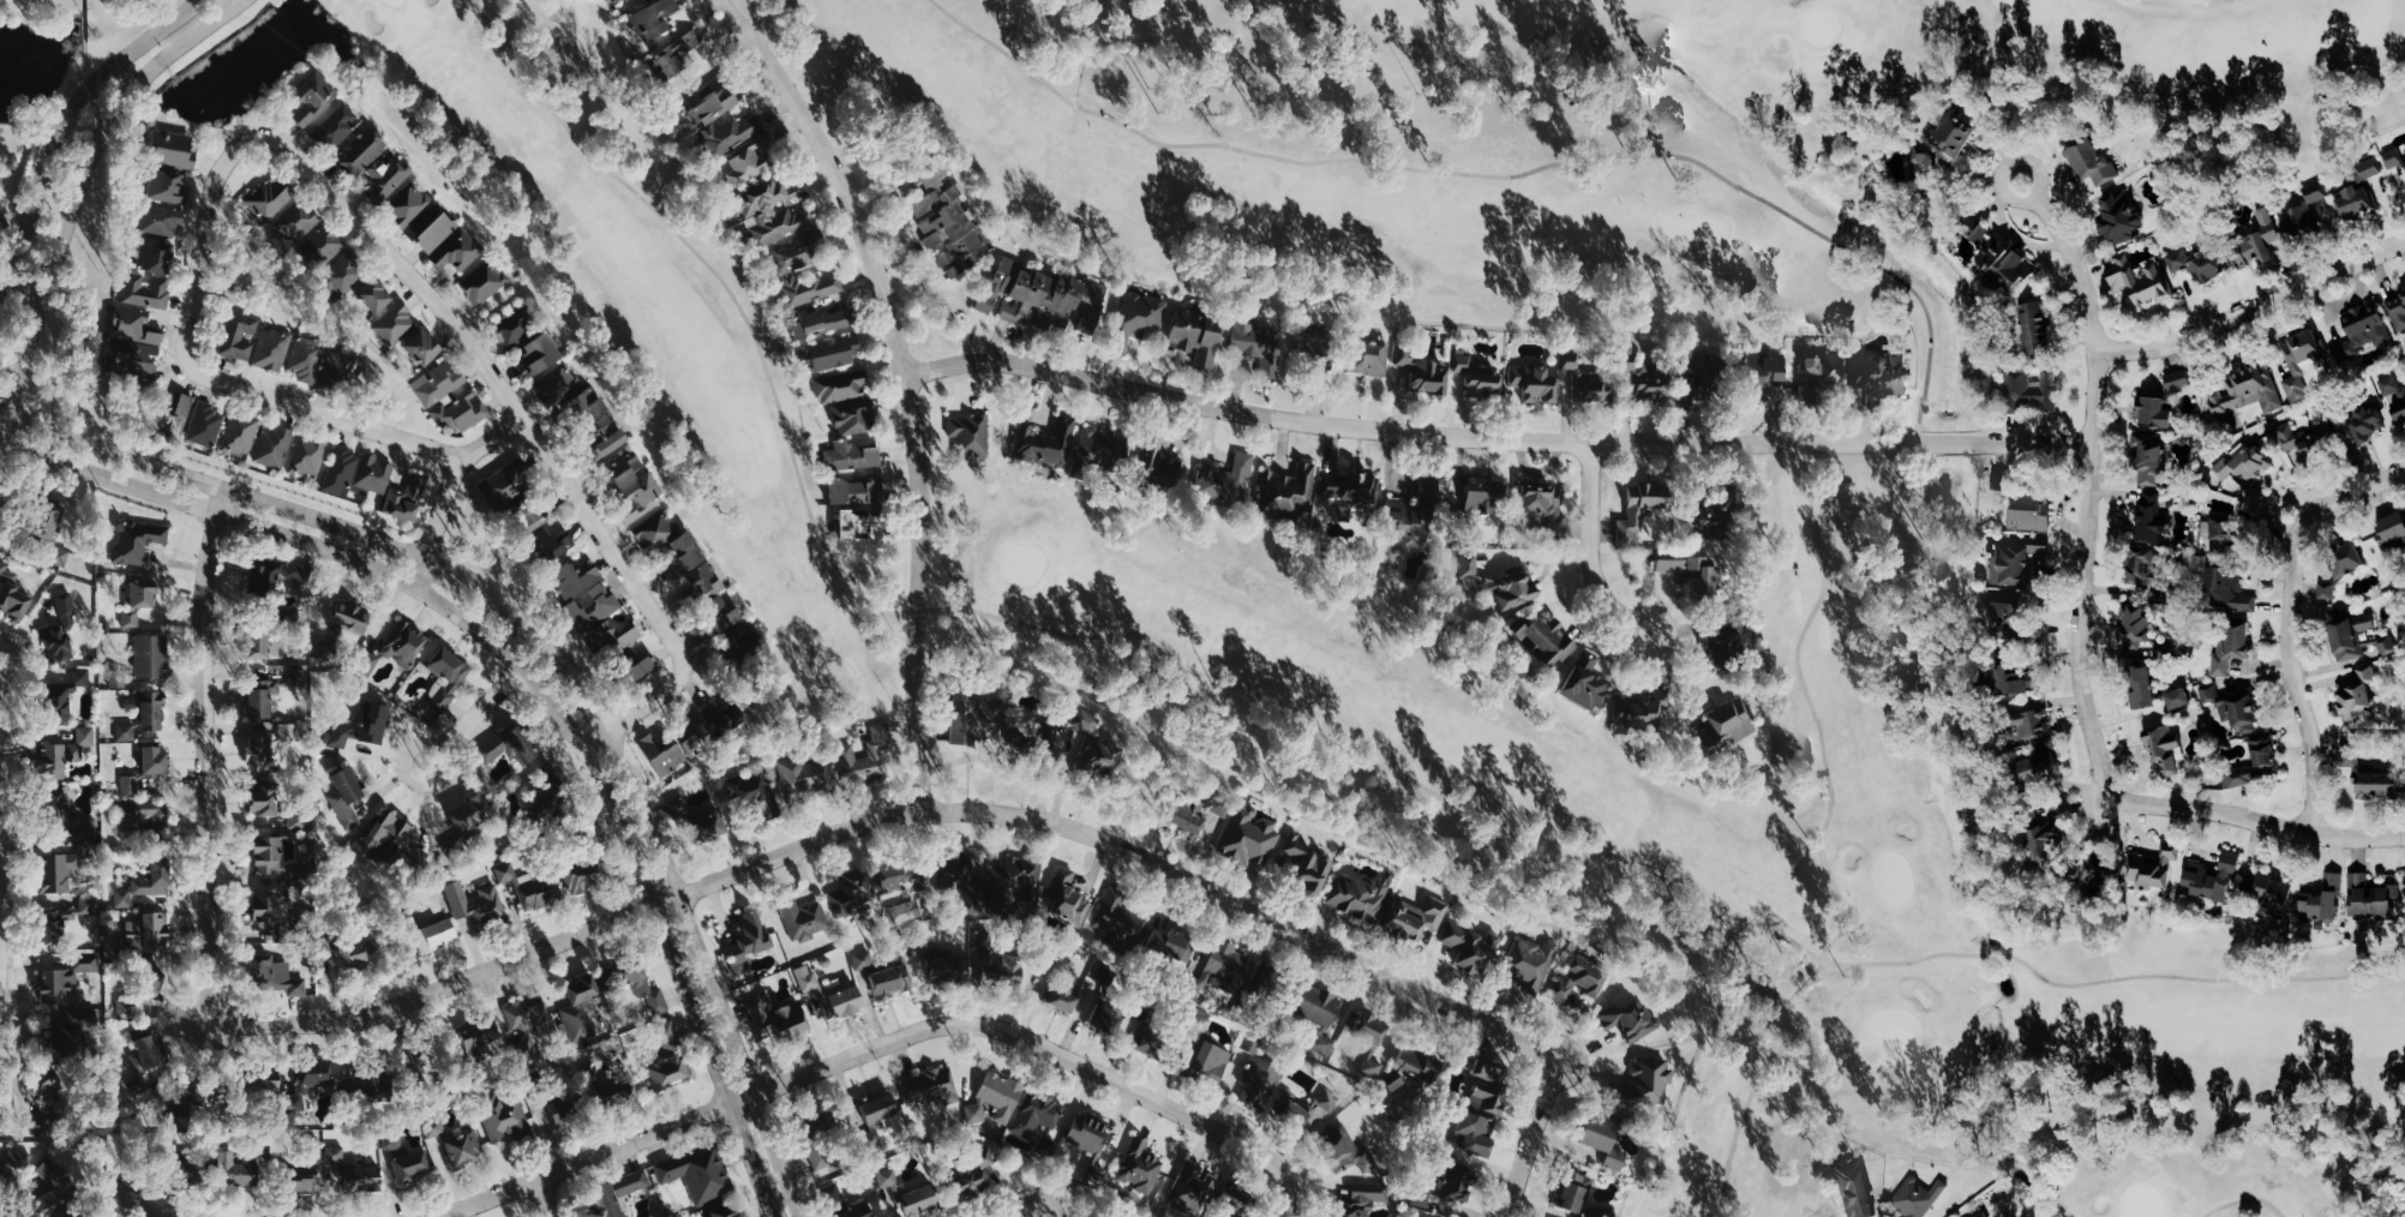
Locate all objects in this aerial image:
building: (617, 0)
building: (655, 18)
building: (313, 98)
road: (59, 116)
building: (720, 118)
building: (337, 126)
building: (1957, 133)
building: (173, 149)
building: (751, 160)
building: (2395, 160)
building: (2093, 162)
building: (374, 163)
building: (1923, 164)
building: (2371, 169)
building: (935, 178)
building: (167, 186)
road: (79, 192)
building: (761, 197)
building: (271, 198)
building: (2357, 202)
building: (409, 204)
road: (209, 205)
building: (2307, 211)
building: (2121, 216)
building: (161, 220)
building: (299, 221)
building: (780, 224)
building: (952, 230)
building: (437, 232)
building: (2260, 241)
building: (324, 246)
building: (458, 251)
building: (155, 256)
building: (2004, 256)
building: (2199, 263)
building: (344, 271)
building: (805, 271)
building: (2141, 277)
building: (485, 282)
building: (2404, 287)
building: (146, 289)
building: (1016, 290)
building: (374, 294)
building: (1074, 304)
road: (2254, 307)
building: (2398, 312)
building: (1139, 317)
building: (396, 322)
building: (821, 322)
building: (514, 326)
building: (2039, 326)
building: (2364, 330)
building: (1198, 335)
building: (240, 336)
building: (136, 343)
building: (1260, 344)
building: (424, 347)
building: (1317, 348)
building: (272, 349)
building: (833, 352)
building: (539, 355)
building: (307, 356)
building: (1368, 359)
building: (1571, 360)
building: (2301, 361)
building: (1462, 362)
building: (1768, 364)
building: (340, 368)
building: (1423, 373)
building: (1648, 376)
building: (2179, 379)
building: (1483, 380)
road: (906, 382)
building: (1537, 383)
building: (841, 385)
building: (556, 386)
building: (1594, 386)
building: (2033, 389)
building: (2243, 392)
building: (1695, 394)
building: (2394, 395)
building: (450, 397)
building: (587, 408)
building: (2155, 412)
road: (319, 413)
building: (175, 416)
building: (854, 416)
building: (2368, 422)
building: (206, 425)
building: (602, 427)
building: (241, 433)
building: (971, 434)
road: (1494, 438)
building: (2307, 439)
building: (1051, 442)
building: (610, 444)
building: (274, 446)
building: (1100, 446)
building: (308, 455)
road: (545, 455)
building: (852, 455)
building: (2149, 456)
building: (1159, 464)
building: (2248, 464)
building: (625, 468)
building: (342, 470)
building: (373, 475)
building: (1224, 479)
building: (503, 486)
road: (449, 487)
building: (1288, 490)
building: (857, 491)
building: (1350, 491)
road: (2087, 493)
building: (642, 496)
building: (1485, 496)
building: (407, 498)
building: (1545, 505)
building: (1643, 506)
building: (1420, 509)
building: (2032, 512)
building: (532, 518)
building: (2154, 520)
building: (1714, 521)
building: (860, 524)
building: (2395, 529)
building: (2221, 532)
road: (275, 533)
building: (53, 535)
building: (138, 541)
building: (546, 546)
building: (677, 556)
road: (1591, 557)
building: (2343, 559)
building: (2017, 560)
building: (2142, 568)
building: (276, 576)
building: (1692, 576)
building: (1498, 584)
building: (2224, 592)
building: (12, 593)
building: (139, 599)
building: (593, 610)
building: (67, 611)
building: (352, 616)
building: (714, 619)
road: (2297, 623)
building: (2013, 624)
building: (2134, 627)
building: (2347, 636)
building: (1545, 641)
building: (58, 643)
building: (407, 645)
building: (2227, 645)
building: (737, 646)
building: (2383, 647)
building: (1722, 651)
building: (151, 657)
building: (367, 663)
building: (2016, 664)
road: (550, 665)
building: (635, 671)
building: (445, 679)
building: (2013, 681)
building: (1584, 685)
building: (2148, 695)
building: (64, 696)
building: (263, 696)
building: (2356, 697)
building: (2233, 708)
building: (1060, 709)
building: (152, 711)
building: (1637, 712)
building: (960, 718)
building: (722, 720)
road: (481, 721)
building: (376, 723)
building: (1722, 726)
building: (2031, 727)
building: (126, 732)
building: (288, 732)
road: (596, 744)
building: (505, 748)
building: (680, 748)
building: (1092, 750)
building: (2161, 751)
building: (260, 753)
building: (62, 754)
building: (845, 754)
road: (208, 755)
road: (402, 760)
building: (156, 762)
building: (2254, 765)
building: (2031, 772)
building: (2367, 778)
building: (805, 779)
building: (132, 784)
building: (550, 790)
building: (751, 793)
building: (347, 795)
building: (264, 799)
road: (1829, 807)
building: (1192, 811)
building: (468, 813)
road: (893, 815)
building: (66, 816)
building: (145, 816)
building: (299, 820)
road: (2256, 822)
building: (704, 827)
building: (1247, 838)
building: (2040, 838)
building: (391, 840)
building: (268, 855)
building: (582, 863)
building: (65, 867)
building: (1306, 868)
building: (2092, 870)
building: (2149, 870)
building: (958, 875)
building: (1020, 875)
building: (899, 876)
building: (2211, 877)
building: (148, 882)
building: (529, 887)
building: (850, 893)
building: (2267, 897)
building: (1355, 898)
building: (2368, 899)
building: (1063, 900)
building: (2321, 901)
building: (476, 903)
building: (270, 904)
building: (905, 911)
building: (800, 918)
building: (1411, 918)
building: (1117, 921)
building: (52, 930)
building: (148, 934)
building: (437, 935)
road: (660, 937)
building: (744, 942)
building: (919, 945)
building: (1168, 945)
building: (1468, 948)
building: (359, 952)
building: (863, 960)
building: (86, 963)
building: (1048, 964)
building: (1528, 964)
building: (1221, 969)
building: (946, 971)
building: (1008, 972)
building: (272, 977)
building: (804, 979)
building: (1576, 981)
road: (2106, 981)
building: (634, 982)
building: (887, 982)
building: (55, 987)
building: (1273, 988)
building: (1057, 997)
building: (142, 999)
building: (841, 1003)
building: (577, 1009)
building: (1317, 1014)
building: (1099, 1017)
building: (772, 1019)
building: (1627, 1020)
building: (526, 1027)
building: (1147, 1036)
building: (484, 1041)
building: (1252, 1044)
building: (1366, 1044)
road: (868, 1053)
building: (149, 1054)
building: (667, 1059)
building: (1202, 1062)
building: (1409, 1067)
building: (266, 1081)
building: (308, 1081)
building: (1255, 1084)
building: (926, 1086)
building: (1485, 1086)
building: (1641, 1086)
building: (611, 1091)
building: (995, 1097)
building: (49, 1102)
building: (1325, 1102)
building: (876, 1110)
building: (562, 1111)
building: (1034, 1113)
building: (1290, 1115)
building: (503, 1117)
building: (434, 1128)
building: (1085, 1134)
building: (1473, 1134)
road: (1531, 1137)
building: (815, 1138)
building: (1599, 1139)
building: (463, 1144)
building: (394, 1146)
building: (1342, 1151)
building: (335, 1155)
building: (13, 1167)
building: (410, 1167)
building: (1136, 1168)
building: (236, 1171)
building: (1091, 1171)
building: (192, 1173)
building: (696, 1174)
building: (306, 1176)
building: (970, 1176)
building: (362, 1179)
building: (1443, 1185)
building: (53, 1189)
building: (1187, 1189)
building: (1853, 1189)
building: (1571, 1193)
building: (613, 1194)
road: (1291, 1194)
road: (556, 1197)
building: (835, 1197)
building: (907, 1197)
building: (1918, 1197)
road: (2243, 1199)
building: (1233, 1200)
building: (1359, 1200)
building: (853, 1211)
building: (720, 1212)
road: (1036, 1215)
building: (143, 1216)
building: (1111, 1216)

